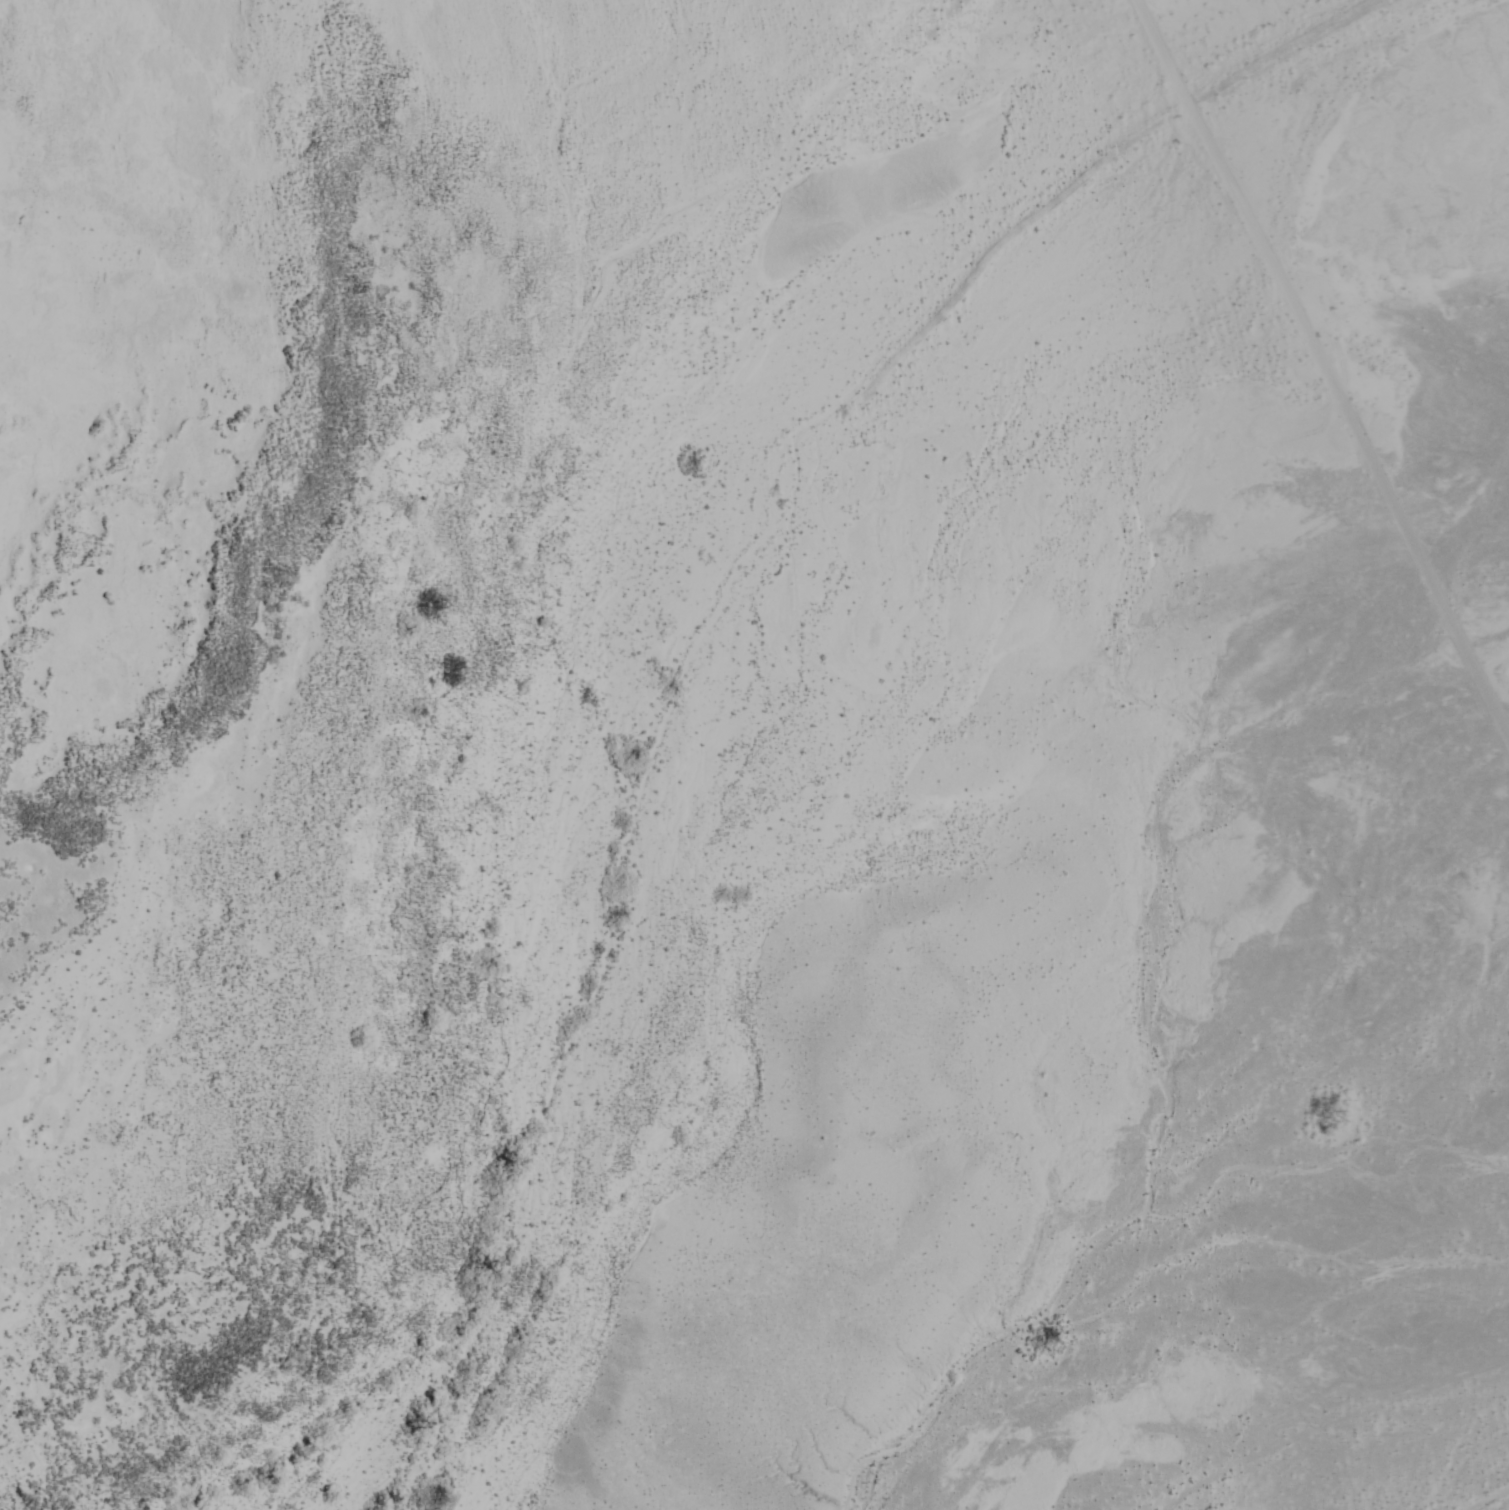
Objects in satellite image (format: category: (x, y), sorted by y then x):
road: (1325, 369)

